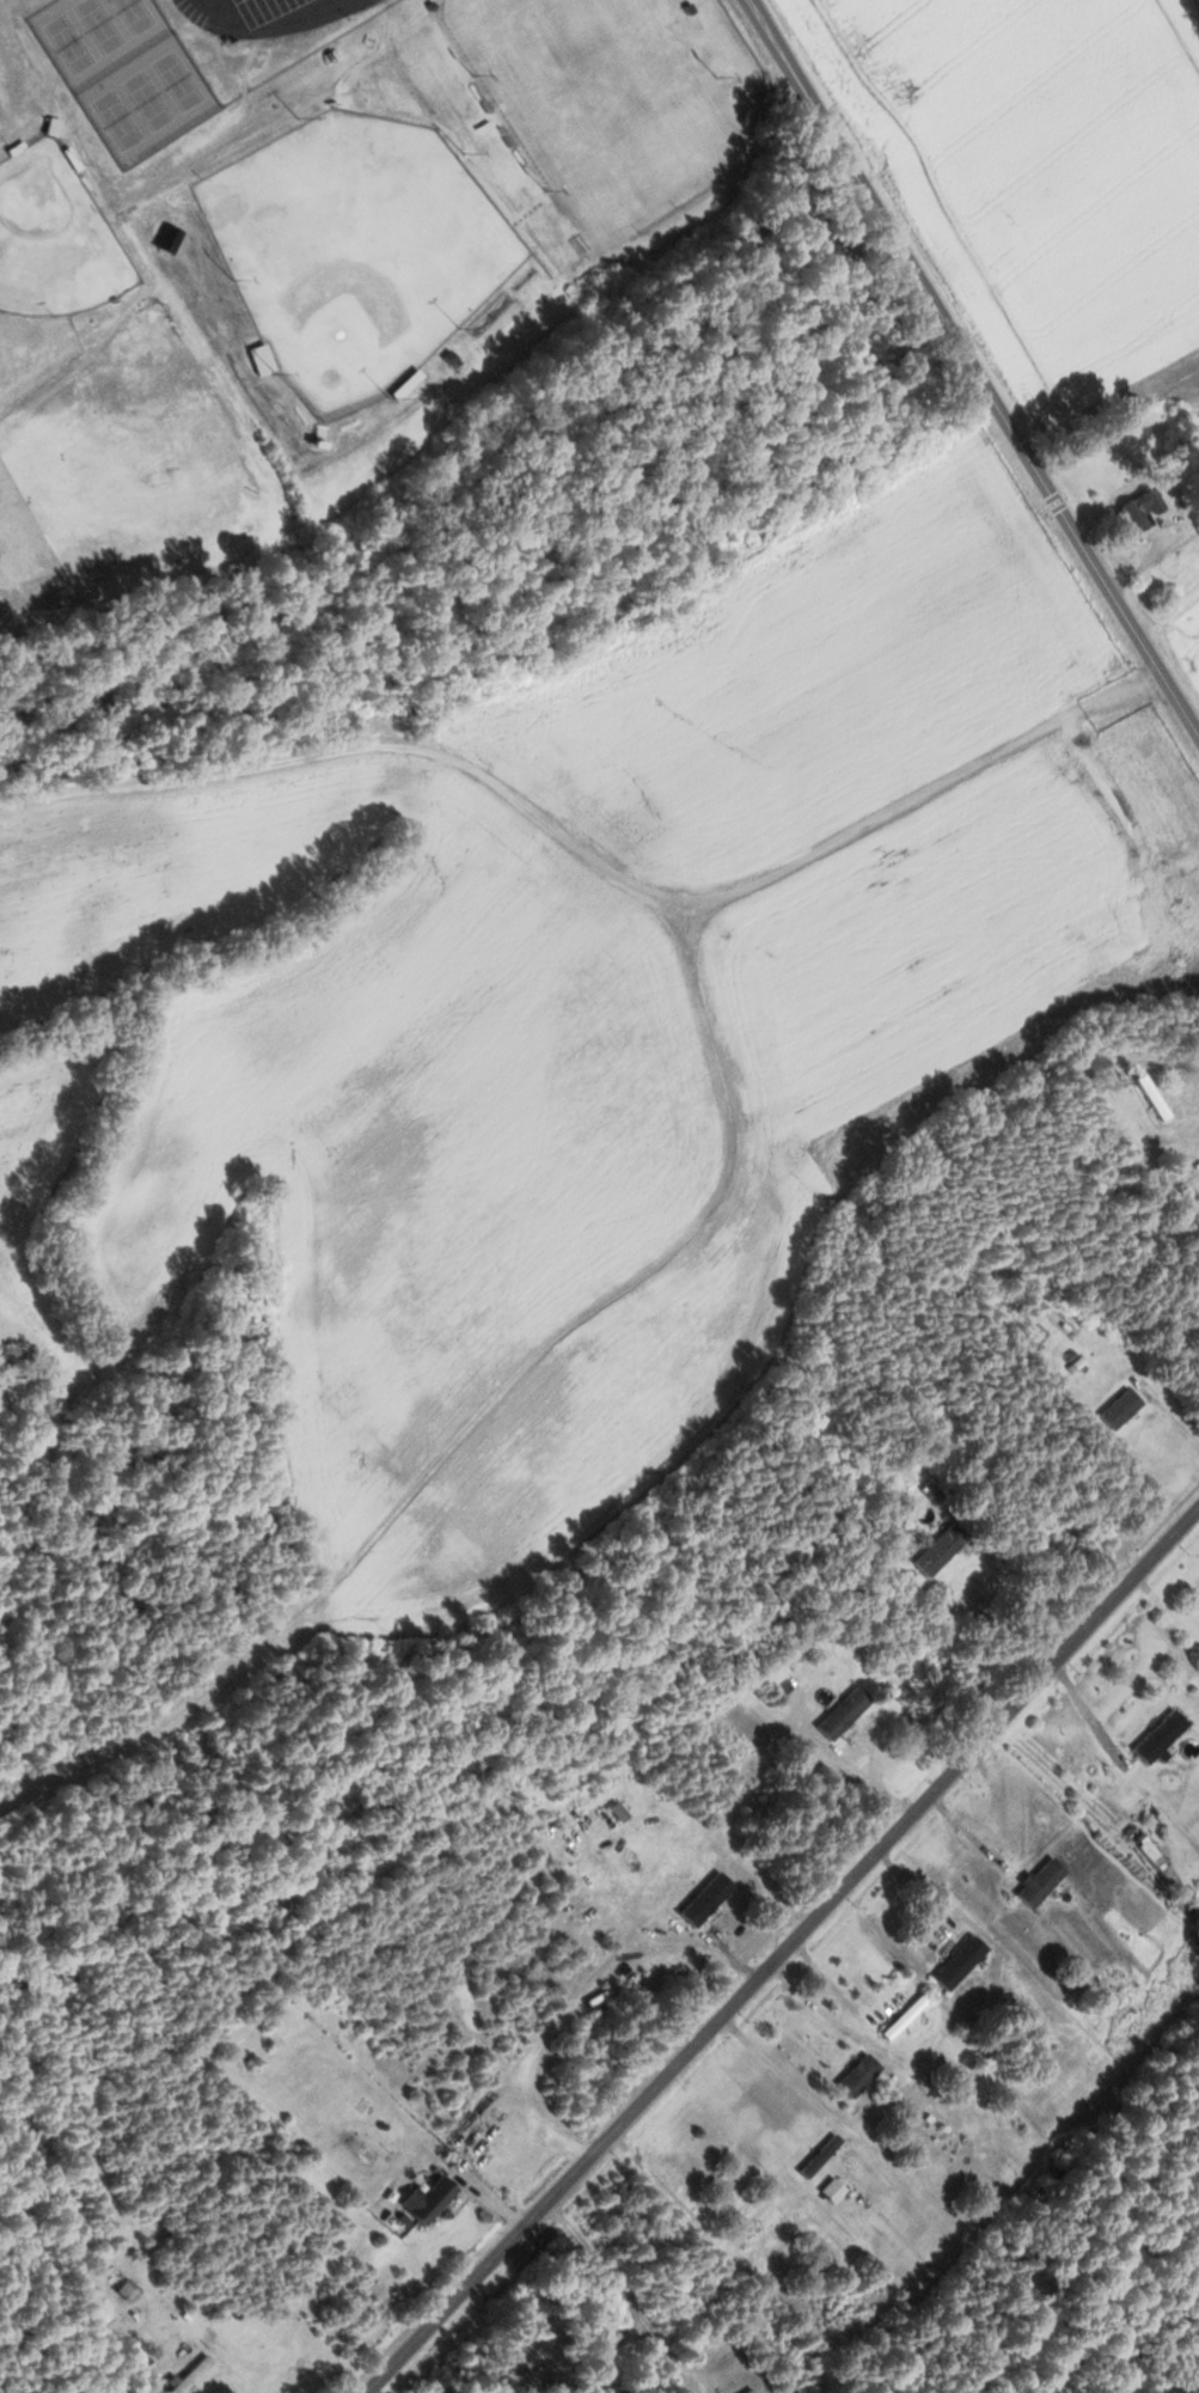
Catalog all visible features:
road: (273, 26)
building: (169, 238)
building: (262, 358)
road: (975, 366)
building: (1139, 507)
building: (1152, 1097)
building: (1120, 1409)
building: (938, 1550)
building: (843, 1711)
building: (1160, 1734)
building: (1039, 1880)
road: (785, 1954)
building: (959, 1961)
building: (904, 2015)
building: (857, 2074)
building: (819, 2154)
building: (832, 2189)
building: (426, 2199)
building: (758, 2226)

